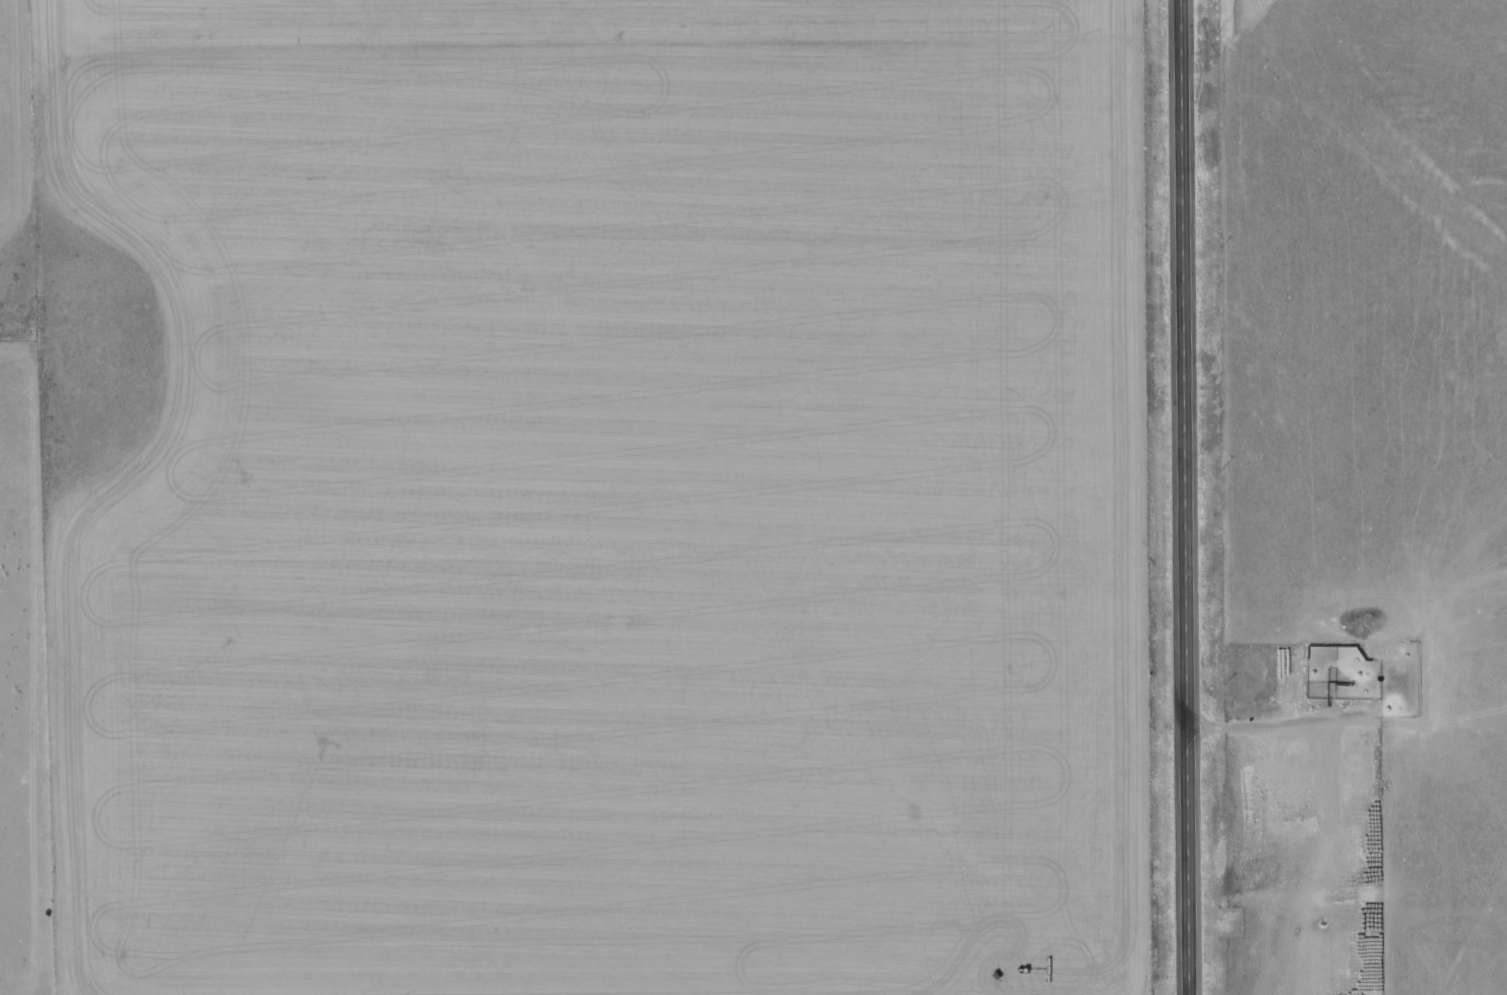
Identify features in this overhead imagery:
road: (1183, 497)
park: (1229, 921)

